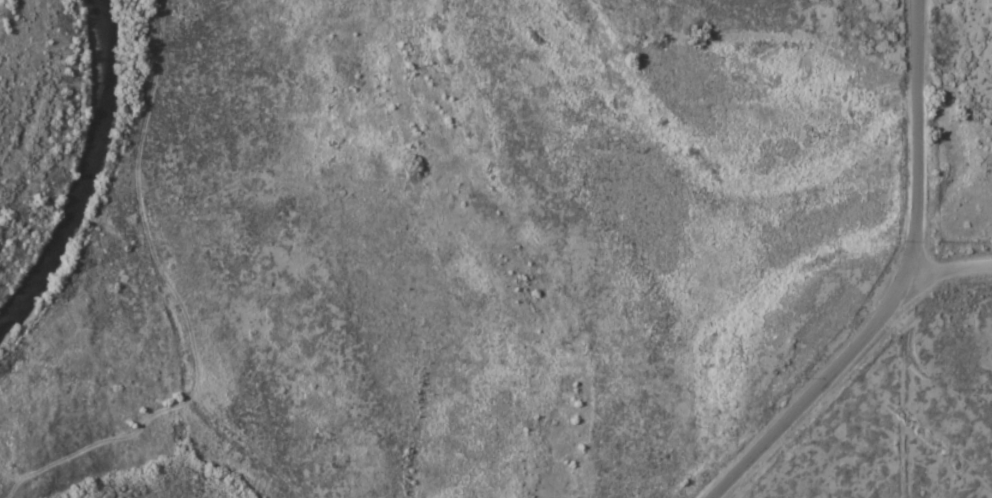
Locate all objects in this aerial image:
river: (84, 171)
road: (935, 275)
road: (897, 283)

